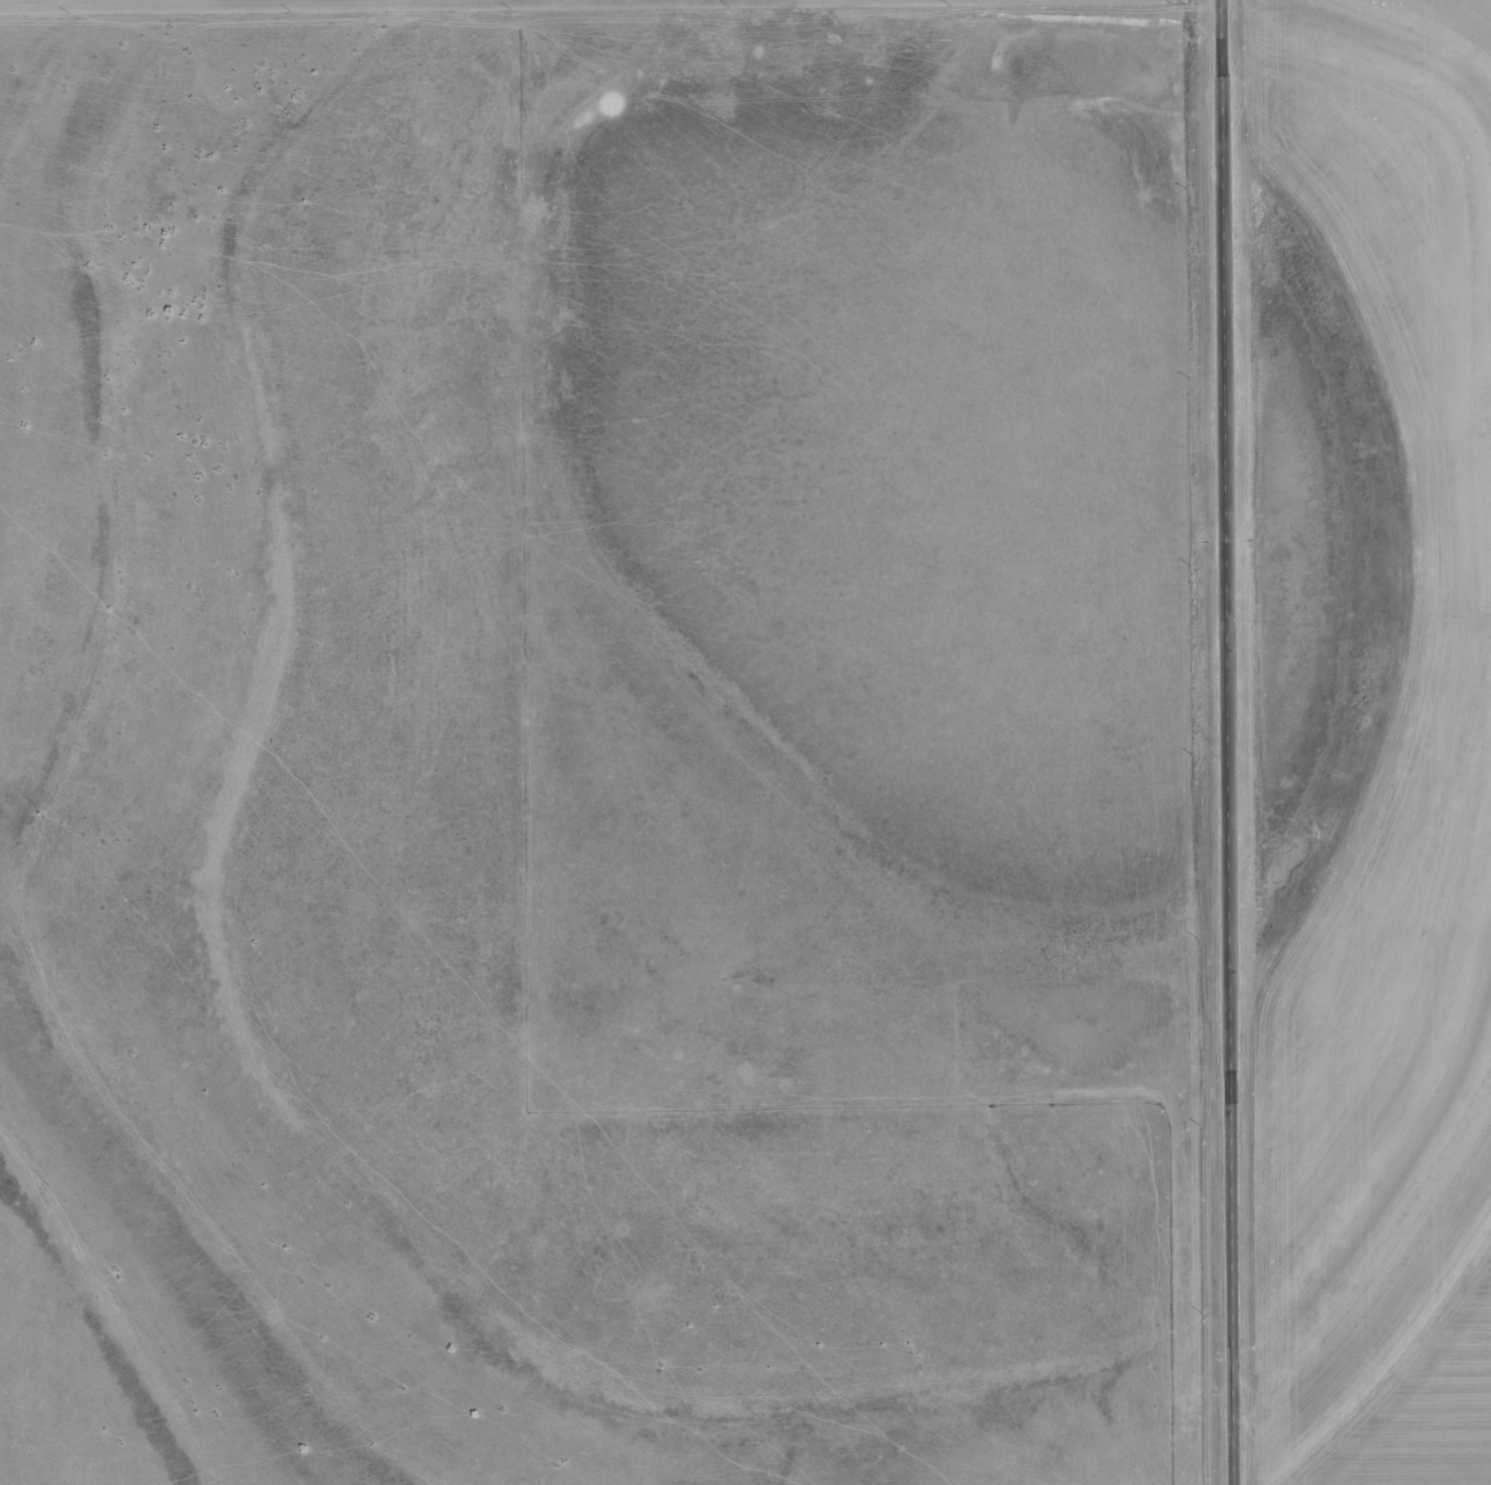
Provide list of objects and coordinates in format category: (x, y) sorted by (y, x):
road: (1225, 742)

